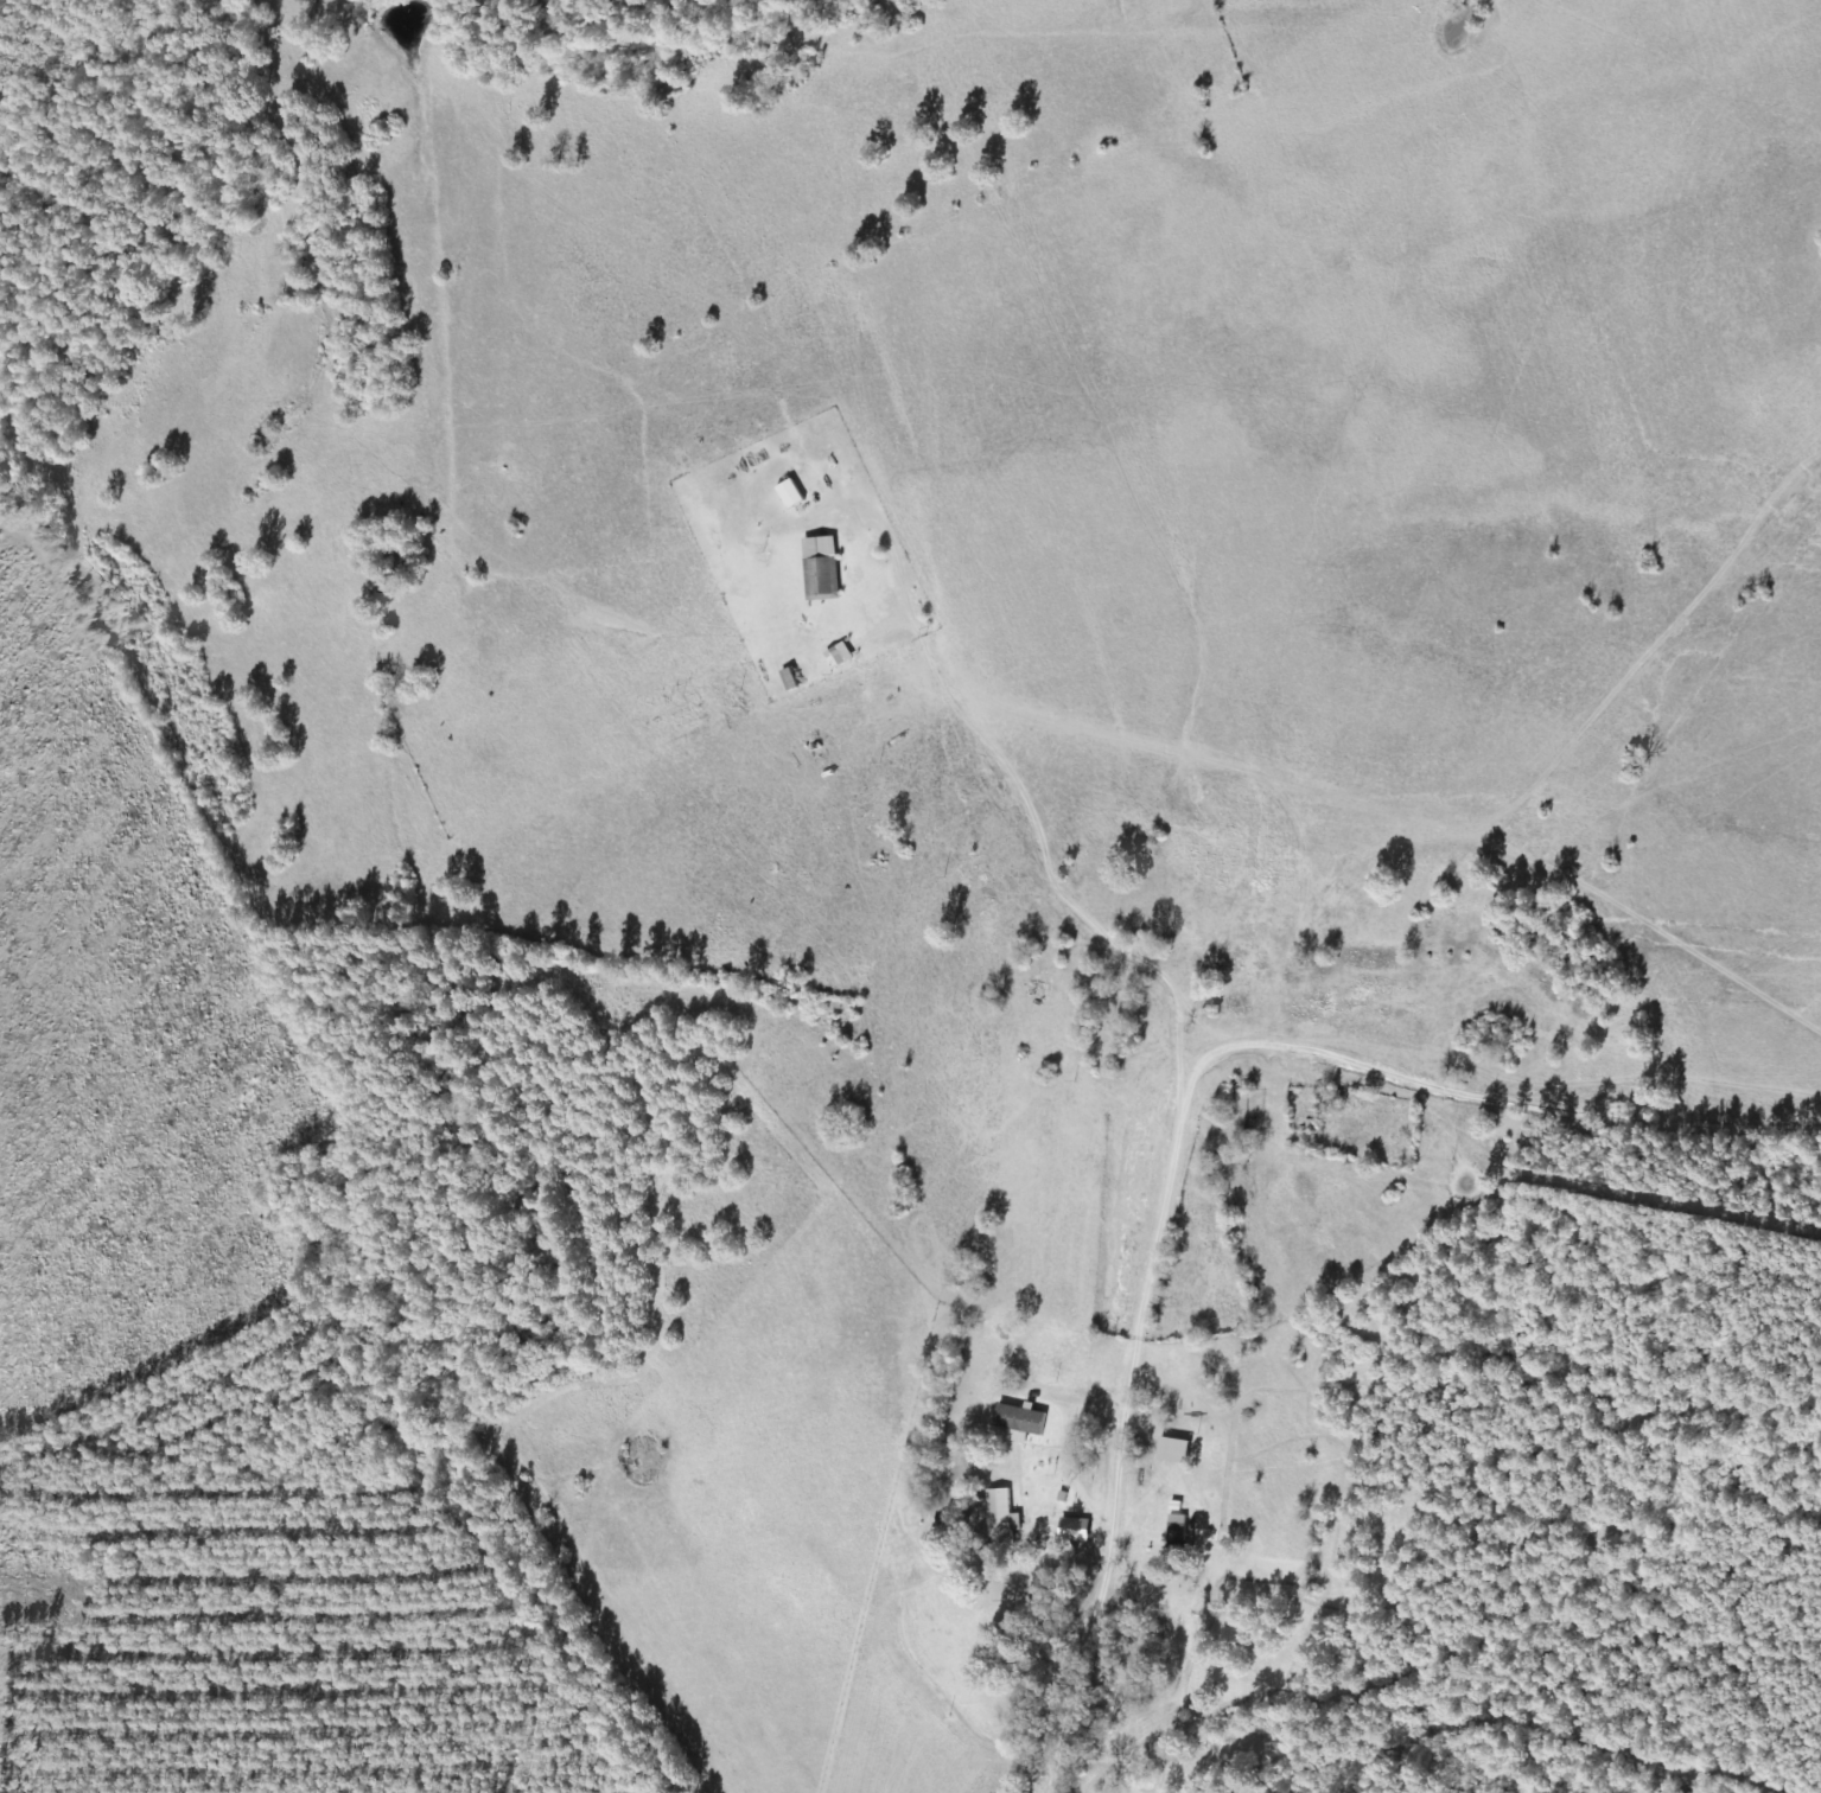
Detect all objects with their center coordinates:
building: (790, 494)
building: (822, 566)
road: (1188, 1127)
building: (1020, 1423)
building: (1173, 1450)
building: (999, 1517)
building: (1074, 1530)

